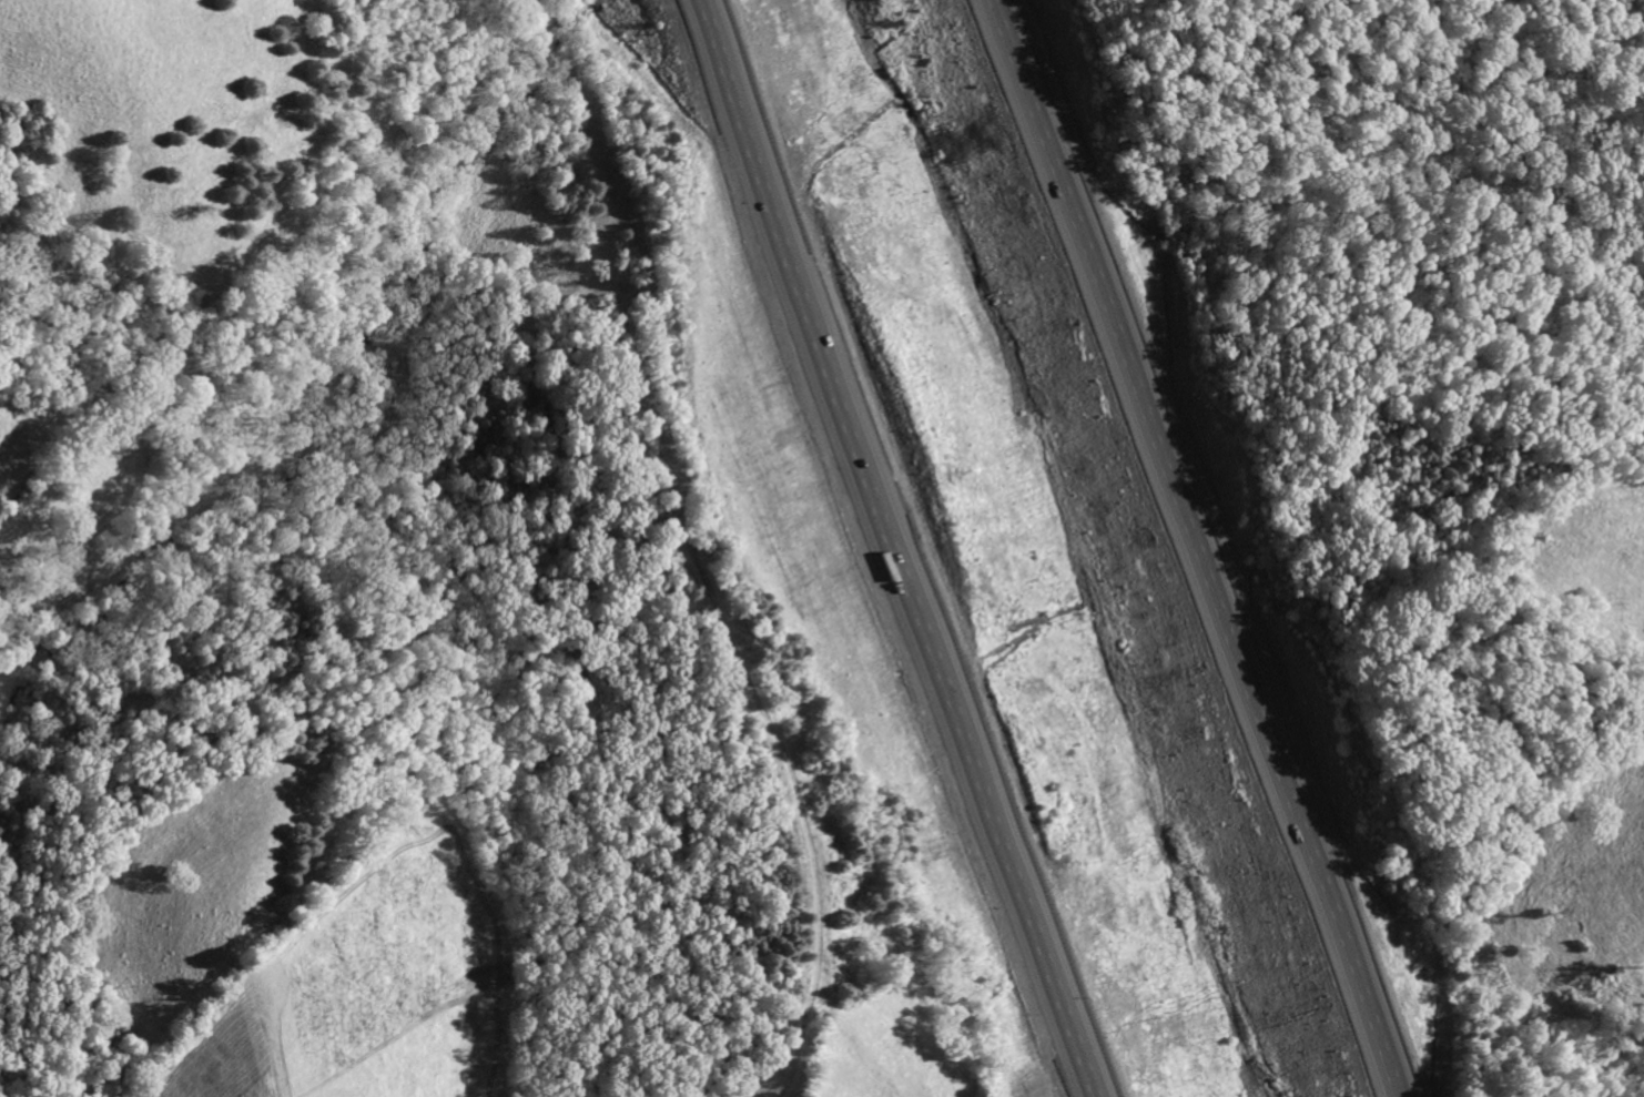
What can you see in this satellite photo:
road: (891, 548)
road: (1215, 548)

